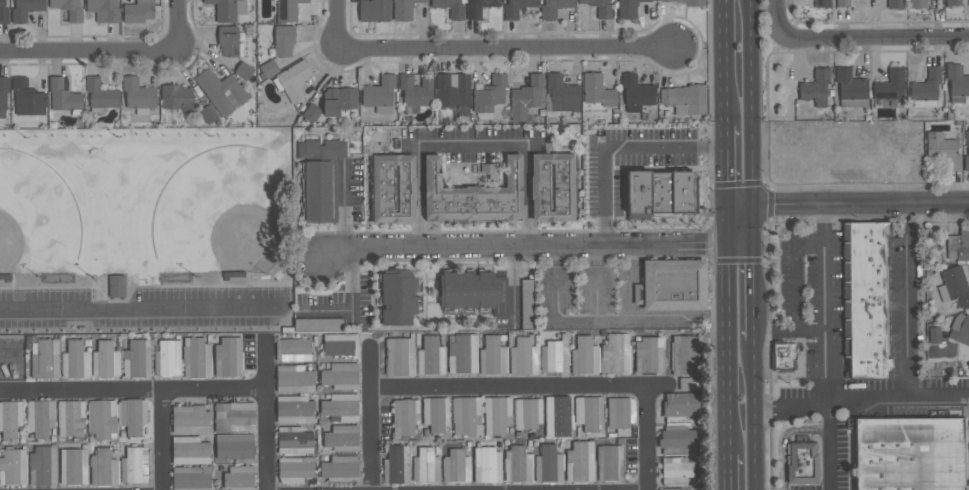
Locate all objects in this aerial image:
building: (686, 1)
building: (953, 2)
building: (822, 3)
building: (842, 3)
building: (917, 3)
building: (895, 4)
building: (451, 7)
building: (478, 7)
building: (516, 8)
building: (553, 8)
building: (600, 8)
building: (628, 8)
building: (25, 9)
building: (69, 9)
building: (228, 9)
building: (403, 9)
building: (103, 10)
building: (287, 10)
building: (374, 10)
building: (138, 11)
building: (3, 12)
road: (778, 24)
road: (883, 39)
building: (283, 40)
building: (229, 41)
road: (489, 46)
road: (115, 52)
road: (727, 62)
building: (269, 68)
building: (244, 70)
building: (292, 80)
building: (957, 82)
building: (890, 85)
building: (816, 87)
building: (851, 88)
building: (416, 89)
building: (926, 89)
building: (597, 90)
building: (222, 91)
building: (452, 92)
building: (561, 93)
building: (637, 93)
building: (3, 94)
building: (380, 94)
building: (63, 95)
building: (100, 95)
building: (138, 95)
building: (489, 96)
building: (176, 97)
building: (526, 97)
building: (27, 98)
building: (685, 99)
building: (338, 100)
building: (311, 112)
building: (208, 114)
road: (753, 123)
road: (473, 143)
road: (618, 146)
building: (942, 150)
building: (968, 150)
road: (727, 167)
building: (489, 172)
building: (320, 178)
building: (552, 187)
building: (393, 188)
building: (660, 192)
building: (473, 194)
road: (343, 207)
road: (848, 207)
park: (225, 215)
park: (35, 219)
park: (143, 234)
building: (958, 245)
road: (538, 247)
road: (557, 257)
road: (597, 282)
road: (629, 282)
road: (514, 283)
building: (671, 285)
building: (117, 286)
building: (953, 287)
road: (792, 288)
building: (473, 291)
road: (753, 293)
building: (398, 297)
building: (866, 299)
road: (911, 300)
road: (354, 302)
road: (826, 303)
building: (527, 304)
road: (139, 307)
road: (618, 318)
building: (318, 324)
building: (960, 328)
road: (727, 331)
road: (774, 333)
building: (341, 345)
building: (293, 349)
building: (462, 353)
building: (615, 354)
building: (648, 354)
building: (684, 354)
building: (554, 355)
building: (399, 356)
building: (430, 356)
building: (492, 356)
building: (584, 356)
building: (196, 357)
building: (228, 357)
building: (523, 357)
building: (44, 358)
building: (167, 358)
building: (786, 358)
building: (105, 359)
building: (137, 359)
building: (75, 360)
building: (340, 375)
building: (293, 379)
road: (510, 388)
road: (132, 390)
road: (860, 396)
building: (341, 407)
building: (679, 407)
building: (294, 409)
building: (528, 413)
building: (589, 413)
building: (435, 414)
building: (497, 414)
building: (620, 414)
building: (132, 415)
building: (466, 415)
road: (754, 415)
building: (234, 416)
building: (558, 416)
building: (39, 417)
road: (265, 417)
road: (372, 417)
building: (405, 417)
building: (10, 418)
building: (70, 418)
building: (101, 419)
building: (190, 419)
building: (342, 437)
road: (649, 438)
road: (782, 439)
road: (162, 440)
building: (294, 440)
building: (678, 440)
road: (829, 444)
building: (235, 448)
building: (189, 450)
building: (909, 454)
building: (580, 461)
building: (610, 462)
building: (803, 463)
building: (517, 464)
building: (548, 464)
building: (134, 465)
building: (397, 465)
building: (487, 465)
building: (42, 466)
building: (73, 466)
building: (425, 466)
building: (456, 466)
building: (13, 467)
building: (103, 467)
building: (340, 467)
building: (294, 469)
building: (675, 470)
road: (728, 471)
building: (191, 478)
building: (239, 478)
building: (670, 489)

